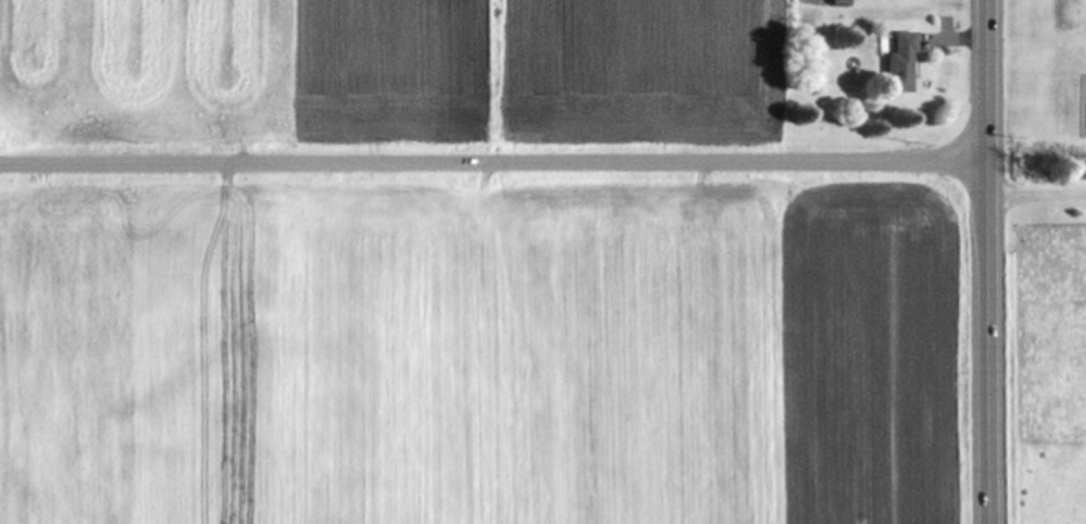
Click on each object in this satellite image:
building: (899, 62)
crop: (1045, 83)
road: (495, 161)
road: (989, 261)

